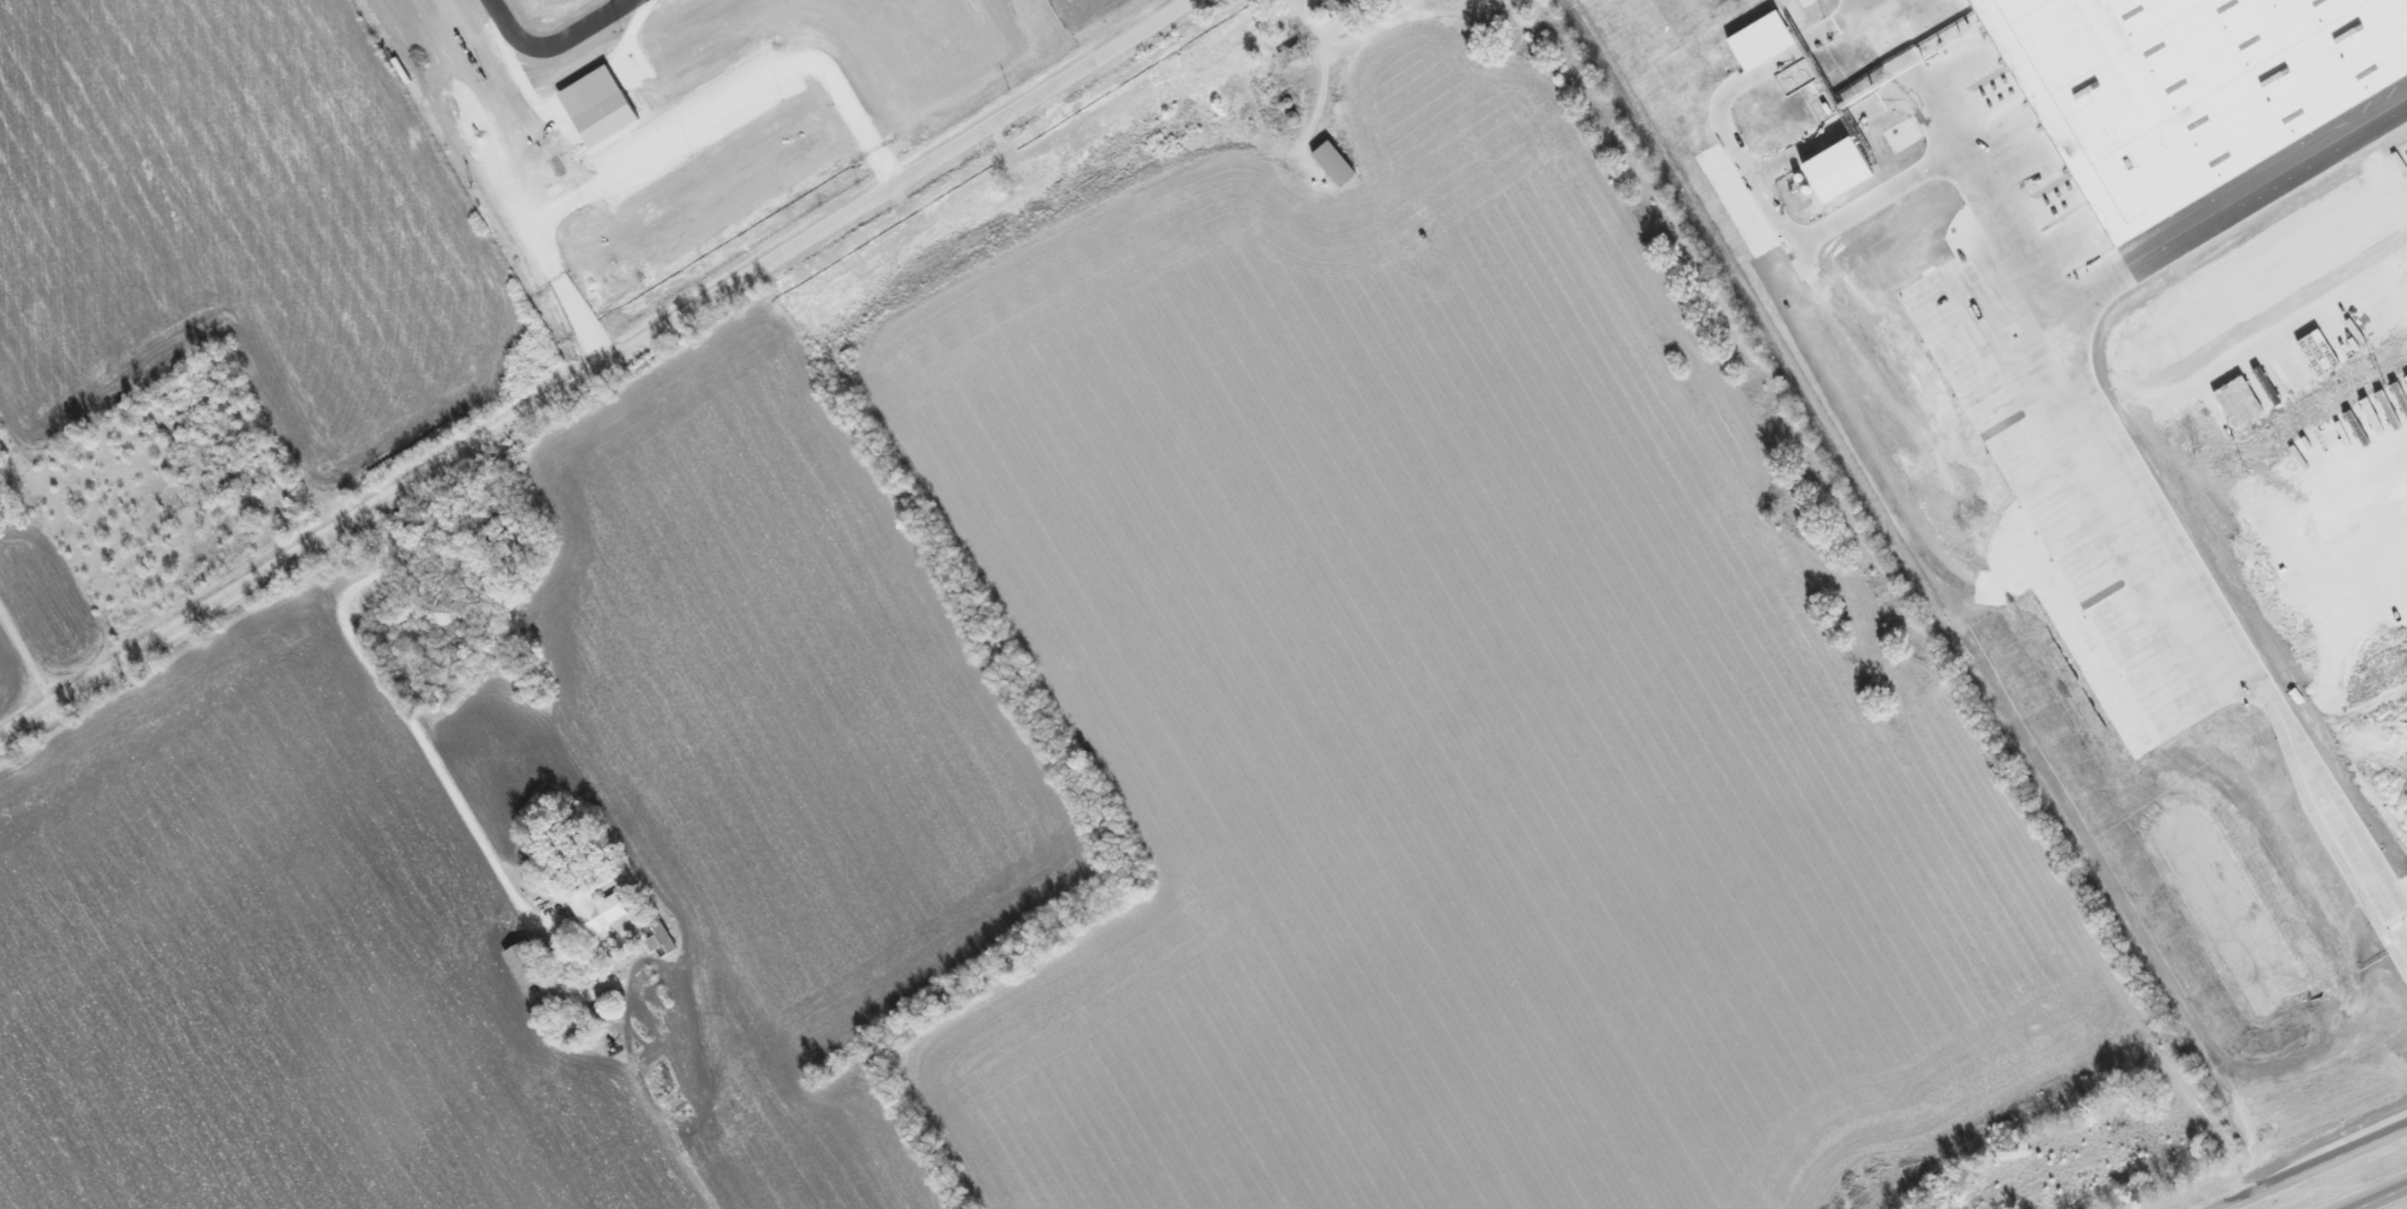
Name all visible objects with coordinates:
road: (592, 368)
road: (2171, 521)
road: (25, 658)
road: (400, 708)
building: (600, 910)
road: (2315, 1169)
road: (2385, 1199)

